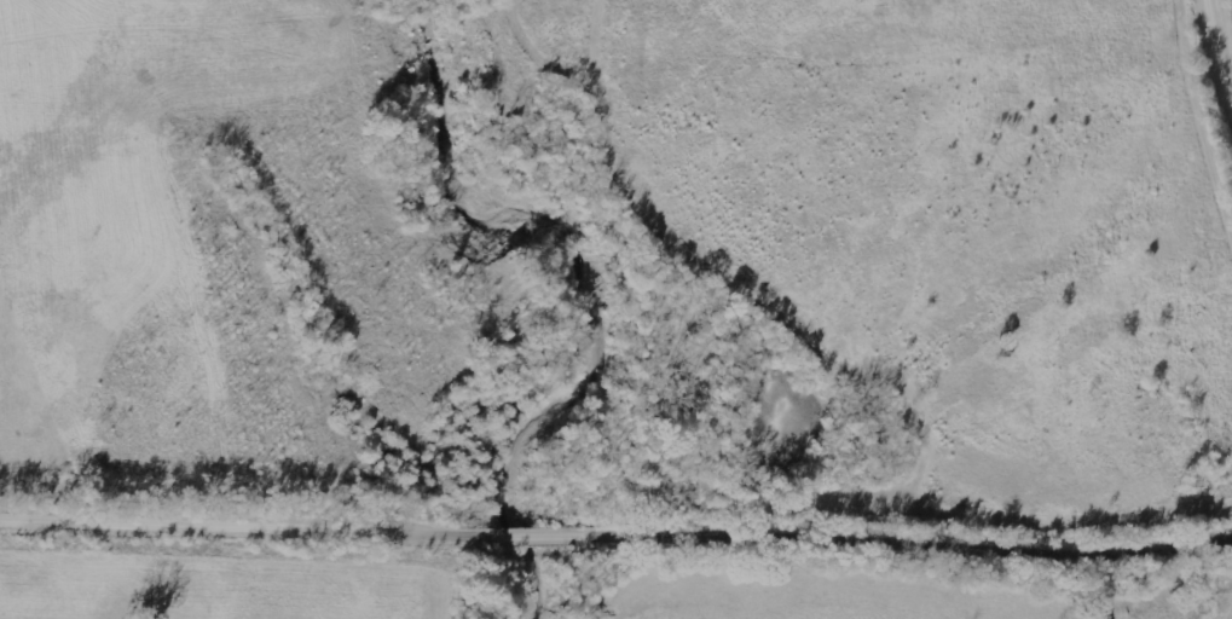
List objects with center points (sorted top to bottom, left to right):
road: (1224, 37)
road: (536, 543)
road: (1151, 559)

